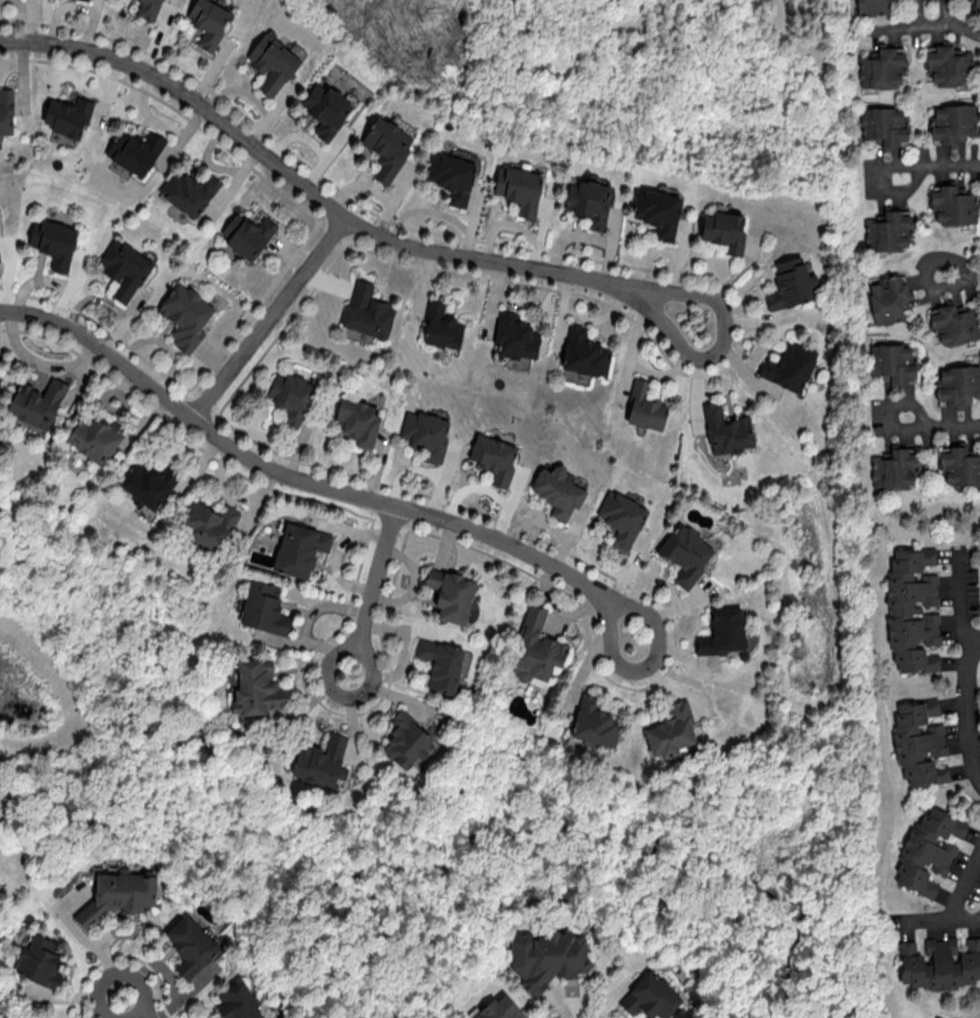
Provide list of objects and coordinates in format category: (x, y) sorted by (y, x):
building: (86, 0)
building: (977, 4)
building: (872, 7)
building: (148, 9)
road: (948, 12)
building: (208, 22)
road: (923, 24)
road: (964, 28)
building: (272, 63)
building: (948, 65)
building: (881, 67)
building: (326, 109)
building: (6, 112)
building: (68, 116)
building: (953, 122)
building: (884, 126)
building: (387, 147)
building: (135, 151)
road: (940, 168)
building: (452, 176)
building: (519, 188)
building: (188, 191)
building: (589, 201)
road: (331, 205)
building: (953, 205)
building: (657, 211)
building: (724, 231)
building: (887, 231)
building: (247, 235)
building: (53, 241)
building: (124, 268)
road: (960, 271)
road: (728, 281)
building: (790, 283)
building: (888, 299)
building: (367, 311)
building: (185, 315)
road: (270, 318)
building: (441, 326)
building: (515, 336)
building: (584, 353)
building: (893, 363)
building: (789, 366)
road: (696, 373)
building: (957, 386)
building: (291, 396)
building: (37, 402)
building: (645, 407)
building: (358, 421)
road: (941, 426)
building: (727, 430)
building: (425, 434)
building: (95, 438)
building: (494, 457)
building: (959, 464)
road: (266, 468)
building: (894, 469)
building: (149, 483)
building: (558, 490)
building: (621, 517)
building: (208, 524)
building: (299, 549)
building: (685, 553)
road: (374, 588)
building: (451, 594)
road: (605, 596)
building: (264, 608)
road: (959, 609)
building: (912, 610)
building: (724, 631)
building: (536, 648)
building: (441, 663)
building: (255, 688)
road: (971, 704)
building: (594, 723)
building: (671, 730)
building: (406, 740)
building: (919, 742)
building: (321, 761)
building: (928, 850)
road: (965, 886)
building: (117, 896)
road: (936, 921)
building: (190, 945)
building: (547, 957)
building: (39, 961)
building: (940, 963)
building: (650, 997)
building: (238, 1002)
road: (131, 1007)
building: (500, 1009)

